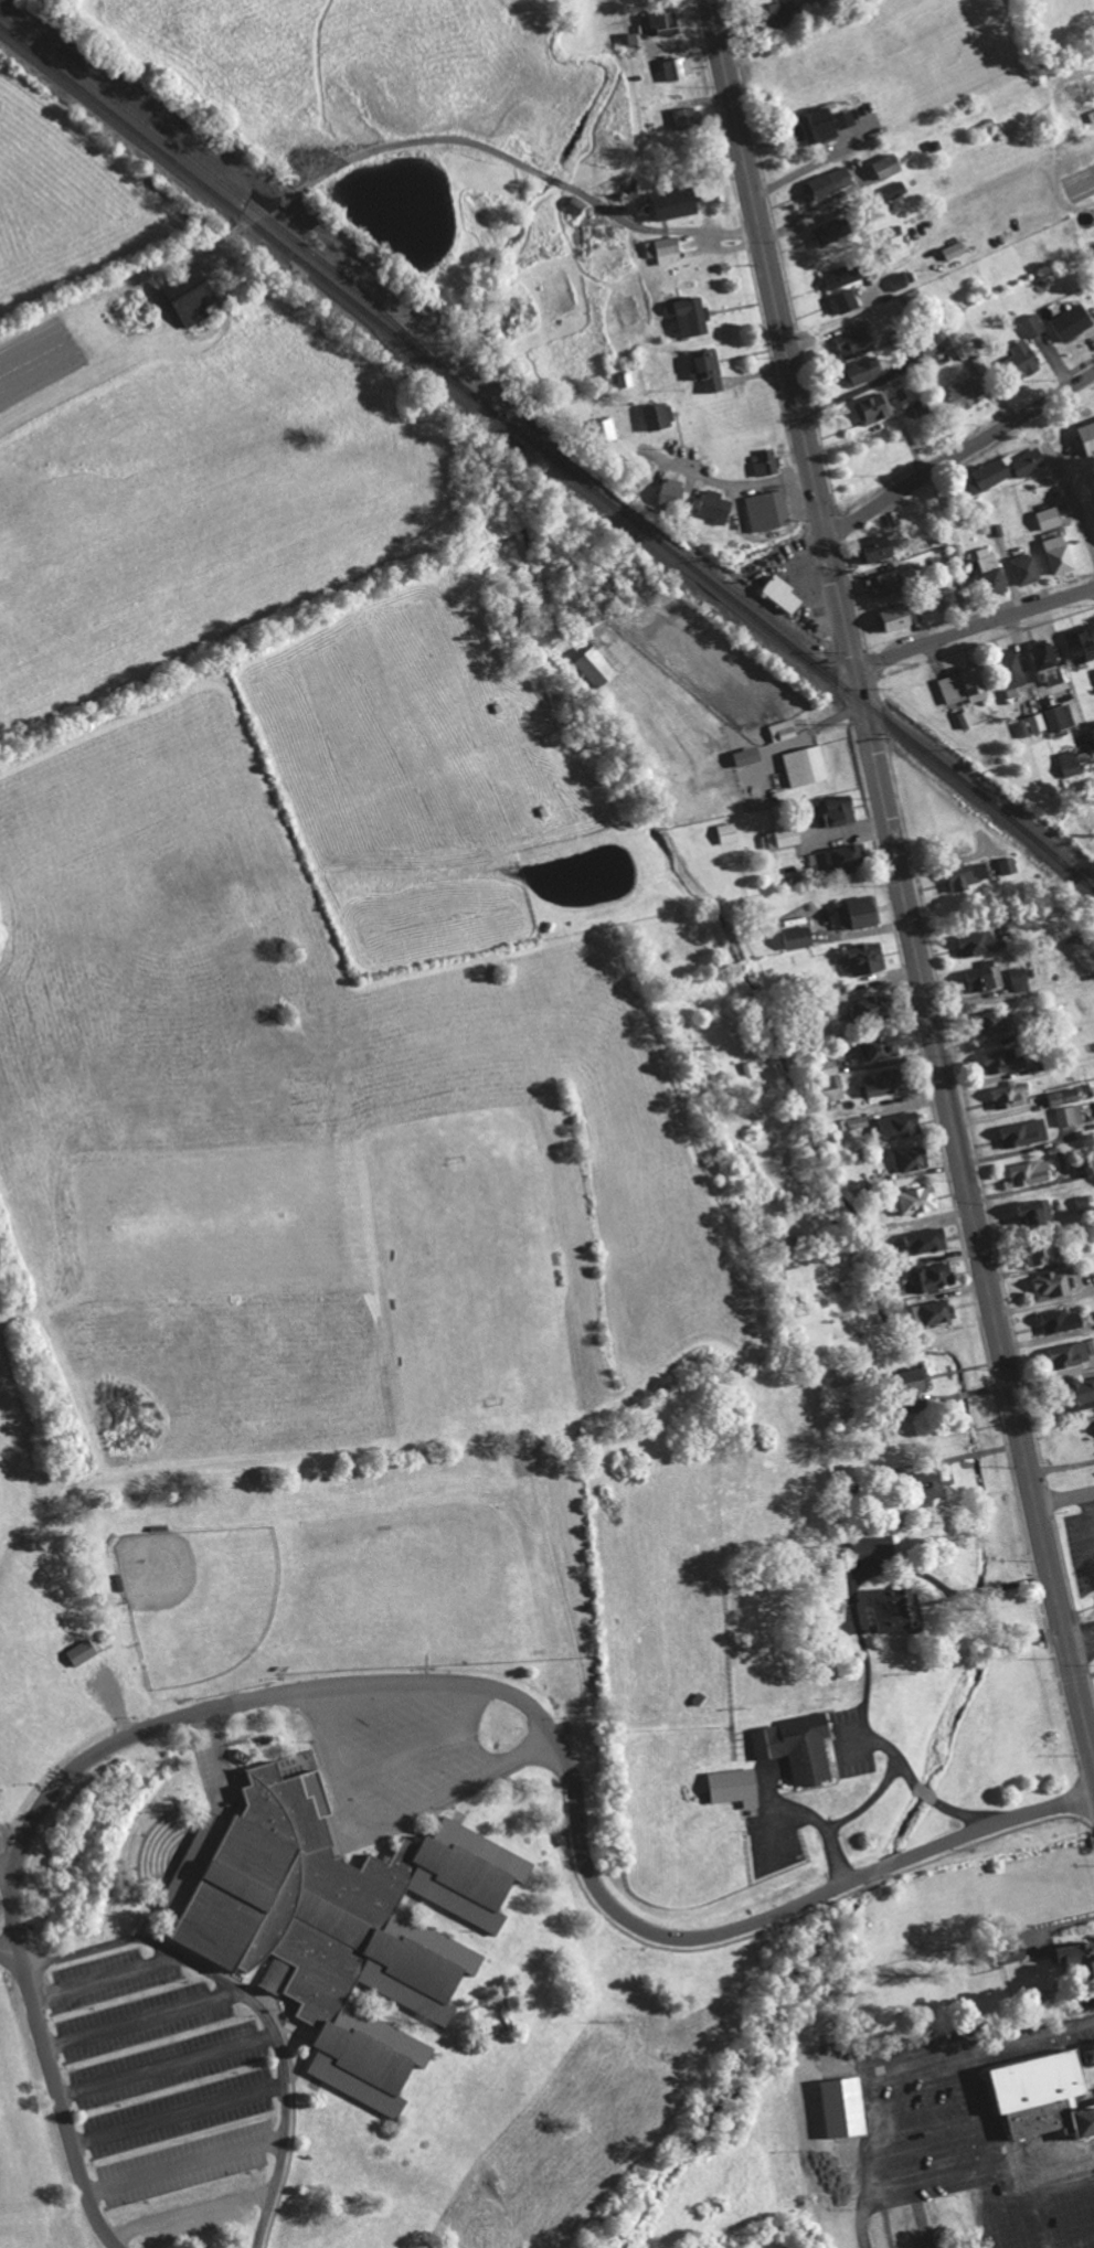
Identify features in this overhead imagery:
building: (782, 13)
building: (666, 20)
building: (680, 68)
building: (690, 118)
building: (828, 125)
road: (482, 146)
railway: (213, 161)
building: (890, 166)
building: (831, 182)
building: (896, 189)
building: (679, 203)
building: (577, 205)
railway: (261, 213)
building: (836, 230)
building: (665, 249)
building: (956, 251)
building: (843, 276)
building: (903, 279)
building: (194, 295)
building: (845, 301)
building: (693, 316)
building: (1074, 321)
building: (1033, 326)
building: (857, 342)
building: (1027, 358)
building: (709, 369)
building: (863, 371)
building: (628, 380)
building: (967, 392)
building: (924, 406)
building: (874, 409)
building: (659, 416)
building: (610, 427)
building: (1088, 436)
railway: (550, 452)
road: (959, 452)
building: (767, 464)
building: (1006, 469)
building: (675, 491)
building: (716, 505)
building: (768, 511)
building: (1050, 518)
building: (881, 547)
building: (1060, 554)
building: (987, 558)
building: (1027, 568)
building: (996, 580)
building: (885, 584)
building: (785, 595)
building: (903, 616)
road: (975, 630)
building: (1082, 643)
building: (1047, 661)
building: (604, 663)
building: (1012, 670)
building: (965, 684)
building: (1061, 717)
building: (966, 720)
building: (1038, 724)
building: (784, 729)
building: (751, 755)
building: (1071, 761)
building: (807, 765)
building: (840, 809)
building: (729, 831)
building: (783, 838)
building: (849, 856)
building: (1009, 865)
building: (970, 874)
road: (900, 880)
building: (860, 912)
building: (801, 936)
building: (977, 942)
building: (869, 958)
building: (984, 977)
building: (1021, 979)
building: (874, 1005)
building: (998, 1023)
building: (879, 1046)
building: (1006, 1059)
building: (884, 1082)
building: (1011, 1095)
building: (1070, 1115)
building: (854, 1122)
building: (903, 1125)
building: (1026, 1132)
building: (912, 1158)
building: (1031, 1172)
building: (921, 1198)
building: (1085, 1202)
building: (1038, 1210)
building: (927, 1239)
park: (308, 1250)
building: (1047, 1255)
building: (935, 1277)
building: (847, 1283)
building: (1053, 1285)
building: (934, 1312)
building: (1063, 1320)
building: (1072, 1354)
building: (917, 1377)
building: (1083, 1391)
building: (935, 1483)
road: (1064, 1496)
crop: (695, 1533)
building: (879, 1546)
building: (904, 1611)
road: (1081, 1640)
building: (79, 1652)
road: (549, 1726)
building: (799, 1746)
building: (737, 1787)
road: (7, 1869)
building: (344, 1920)
building: (1077, 1957)
road: (104, 1978)
road: (254, 2004)
road: (140, 2018)
building: (1092, 2054)
road: (168, 2065)
building: (1034, 2080)
road: (59, 2095)
building: (847, 2108)
road: (178, 2113)
park: (29, 2148)
building: (926, 2238)

